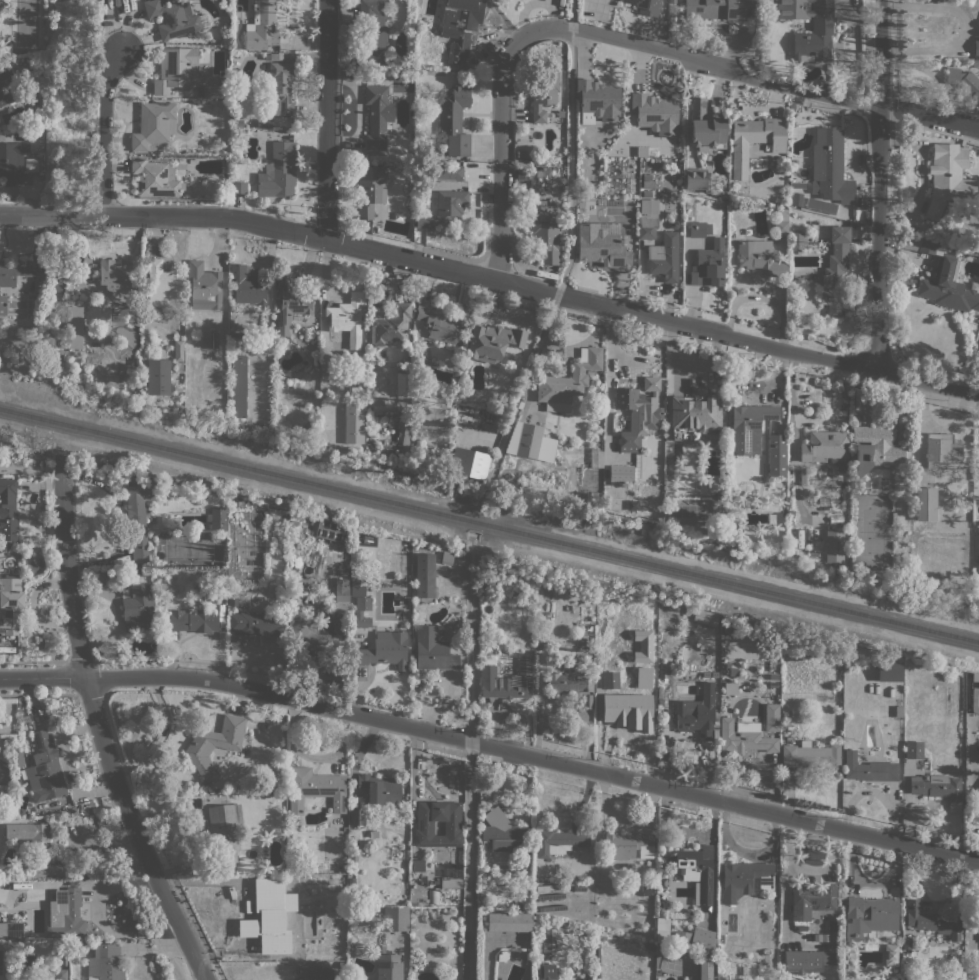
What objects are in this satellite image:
building: (225, 3)
building: (769, 3)
building: (645, 6)
building: (723, 12)
building: (174, 18)
building: (459, 24)
building: (263, 27)
building: (822, 27)
road: (962, 29)
building: (371, 34)
building: (976, 47)
building: (20, 51)
building: (274, 56)
building: (30, 61)
road: (701, 62)
building: (975, 62)
building: (175, 69)
building: (965, 82)
building: (4, 85)
building: (825, 86)
building: (279, 88)
building: (543, 91)
building: (221, 95)
building: (598, 98)
building: (654, 112)
building: (377, 115)
road: (929, 116)
building: (454, 119)
road: (325, 120)
building: (271, 123)
building: (153, 124)
building: (240, 126)
building: (706, 126)
road: (104, 131)
building: (754, 140)
road: (505, 156)
building: (13, 163)
building: (30, 164)
building: (794, 165)
building: (829, 166)
building: (279, 171)
building: (450, 171)
building: (155, 177)
building: (647, 177)
building: (948, 177)
building: (531, 179)
building: (697, 179)
building: (648, 184)
building: (797, 184)
road: (879, 185)
building: (238, 187)
building: (370, 188)
building: (647, 194)
building: (723, 194)
building: (687, 199)
building: (796, 199)
building: (676, 205)
building: (821, 205)
building: (444, 208)
building: (647, 218)
building: (780, 223)
building: (699, 229)
building: (543, 233)
building: (796, 240)
building: (916, 244)
building: (602, 246)
building: (760, 256)
building: (663, 257)
building: (708, 265)
building: (13, 270)
building: (835, 272)
road: (493, 277)
building: (120, 279)
building: (162, 283)
building: (248, 285)
building: (204, 286)
building: (948, 286)
building: (55, 290)
building: (292, 301)
building: (3, 305)
building: (347, 317)
building: (441, 324)
building: (72, 325)
building: (391, 327)
building: (493, 341)
building: (189, 347)
building: (178, 355)
building: (220, 359)
building: (135, 361)
building: (657, 372)
building: (158, 376)
building: (568, 382)
building: (403, 383)
building: (238, 385)
building: (178, 389)
building: (422, 402)
building: (517, 402)
building: (696, 410)
building: (636, 416)
building: (352, 423)
building: (748, 427)
building: (403, 429)
building: (524, 439)
building: (823, 445)
building: (876, 448)
building: (941, 450)
building: (776, 454)
building: (595, 458)
building: (469, 463)
building: (620, 473)
building: (235, 503)
building: (632, 504)
building: (925, 504)
building: (790, 507)
building: (8, 510)
building: (138, 518)
building: (771, 518)
building: (217, 519)
building: (300, 519)
railway: (489, 525)
building: (331, 530)
building: (833, 545)
building: (3, 548)
building: (340, 556)
building: (447, 557)
building: (461, 561)
building: (138, 570)
building: (424, 575)
road: (68, 576)
building: (352, 591)
building: (341, 595)
building: (233, 601)
building: (10, 604)
building: (291, 606)
building: (138, 607)
building: (361, 612)
building: (705, 617)
building: (193, 620)
building: (257, 623)
building: (313, 635)
building: (641, 645)
building: (591, 649)
building: (384, 650)
building: (432, 650)
building: (749, 650)
building: (488, 661)
building: (693, 665)
building: (647, 669)
building: (889, 670)
building: (705, 674)
building: (714, 674)
road: (42, 676)
building: (642, 677)
building: (975, 677)
building: (618, 680)
building: (506, 681)
building: (567, 683)
building: (660, 692)
building: (625, 708)
building: (898, 711)
building: (28, 712)
building: (698, 712)
building: (786, 714)
building: (771, 717)
building: (745, 741)
building: (215, 744)
building: (913, 749)
road: (533, 755)
building: (811, 756)
building: (19, 758)
building: (868, 768)
building: (46, 775)
building: (924, 776)
building: (314, 788)
building: (938, 788)
building: (381, 791)
building: (74, 810)
building: (357, 817)
building: (452, 825)
building: (438, 827)
road: (70, 830)
road: (135, 831)
building: (224, 831)
building: (505, 834)
building: (559, 841)
building: (628, 846)
building: (34, 847)
building: (304, 855)
building: (353, 859)
building: (696, 871)
building: (744, 878)
road: (803, 878)
building: (451, 882)
building: (647, 890)
building: (482, 893)
building: (812, 900)
building: (637, 909)
building: (68, 913)
building: (272, 915)
building: (870, 915)
building: (395, 918)
building: (932, 920)
building: (509, 922)
building: (662, 929)
building: (11, 930)
building: (640, 930)
building: (683, 941)
building: (84, 943)
building: (702, 943)
building: (906, 943)
building: (890, 955)
building: (807, 960)
building: (105, 963)
building: (387, 965)
building: (703, 970)
building: (547, 971)
building: (60, 974)
building: (318, 974)
building: (352, 976)
building: (712, 977)
building: (789, 979)

